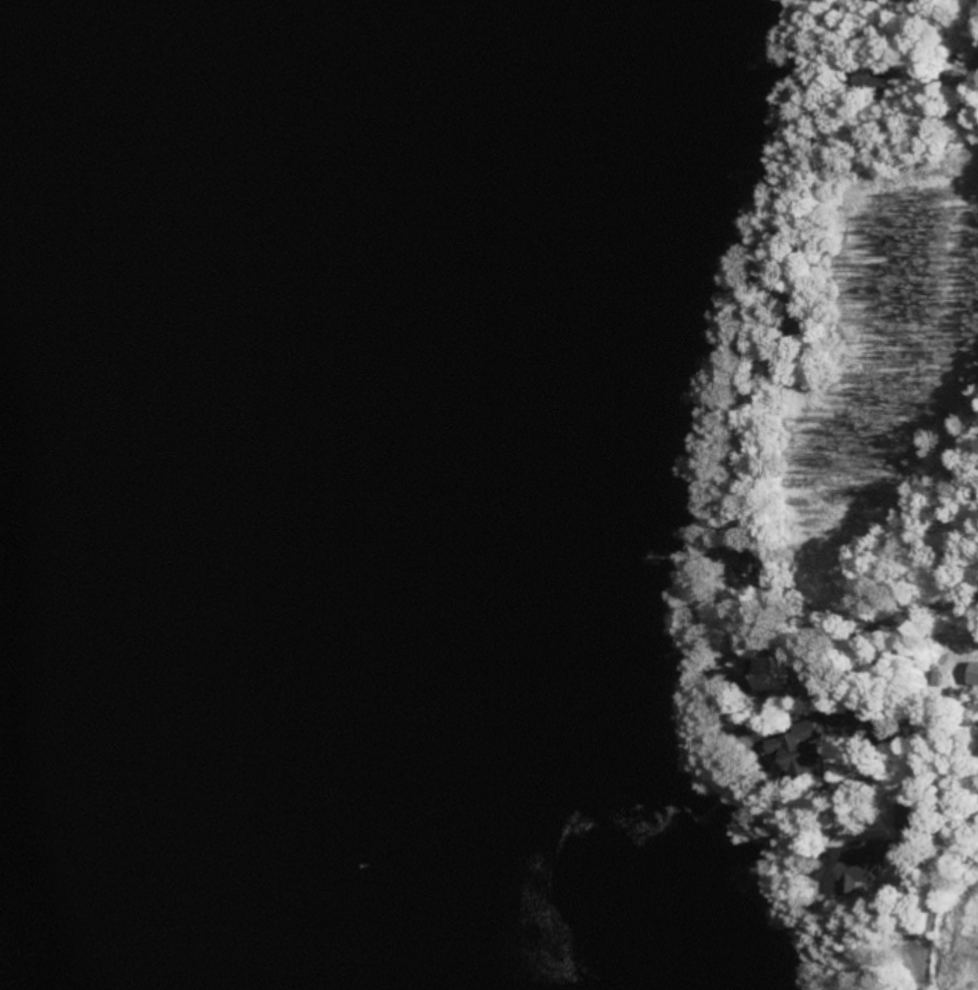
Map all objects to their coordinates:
building: (753, 564)
building: (971, 678)
building: (793, 748)
building: (904, 816)
building: (860, 863)
road: (932, 890)

